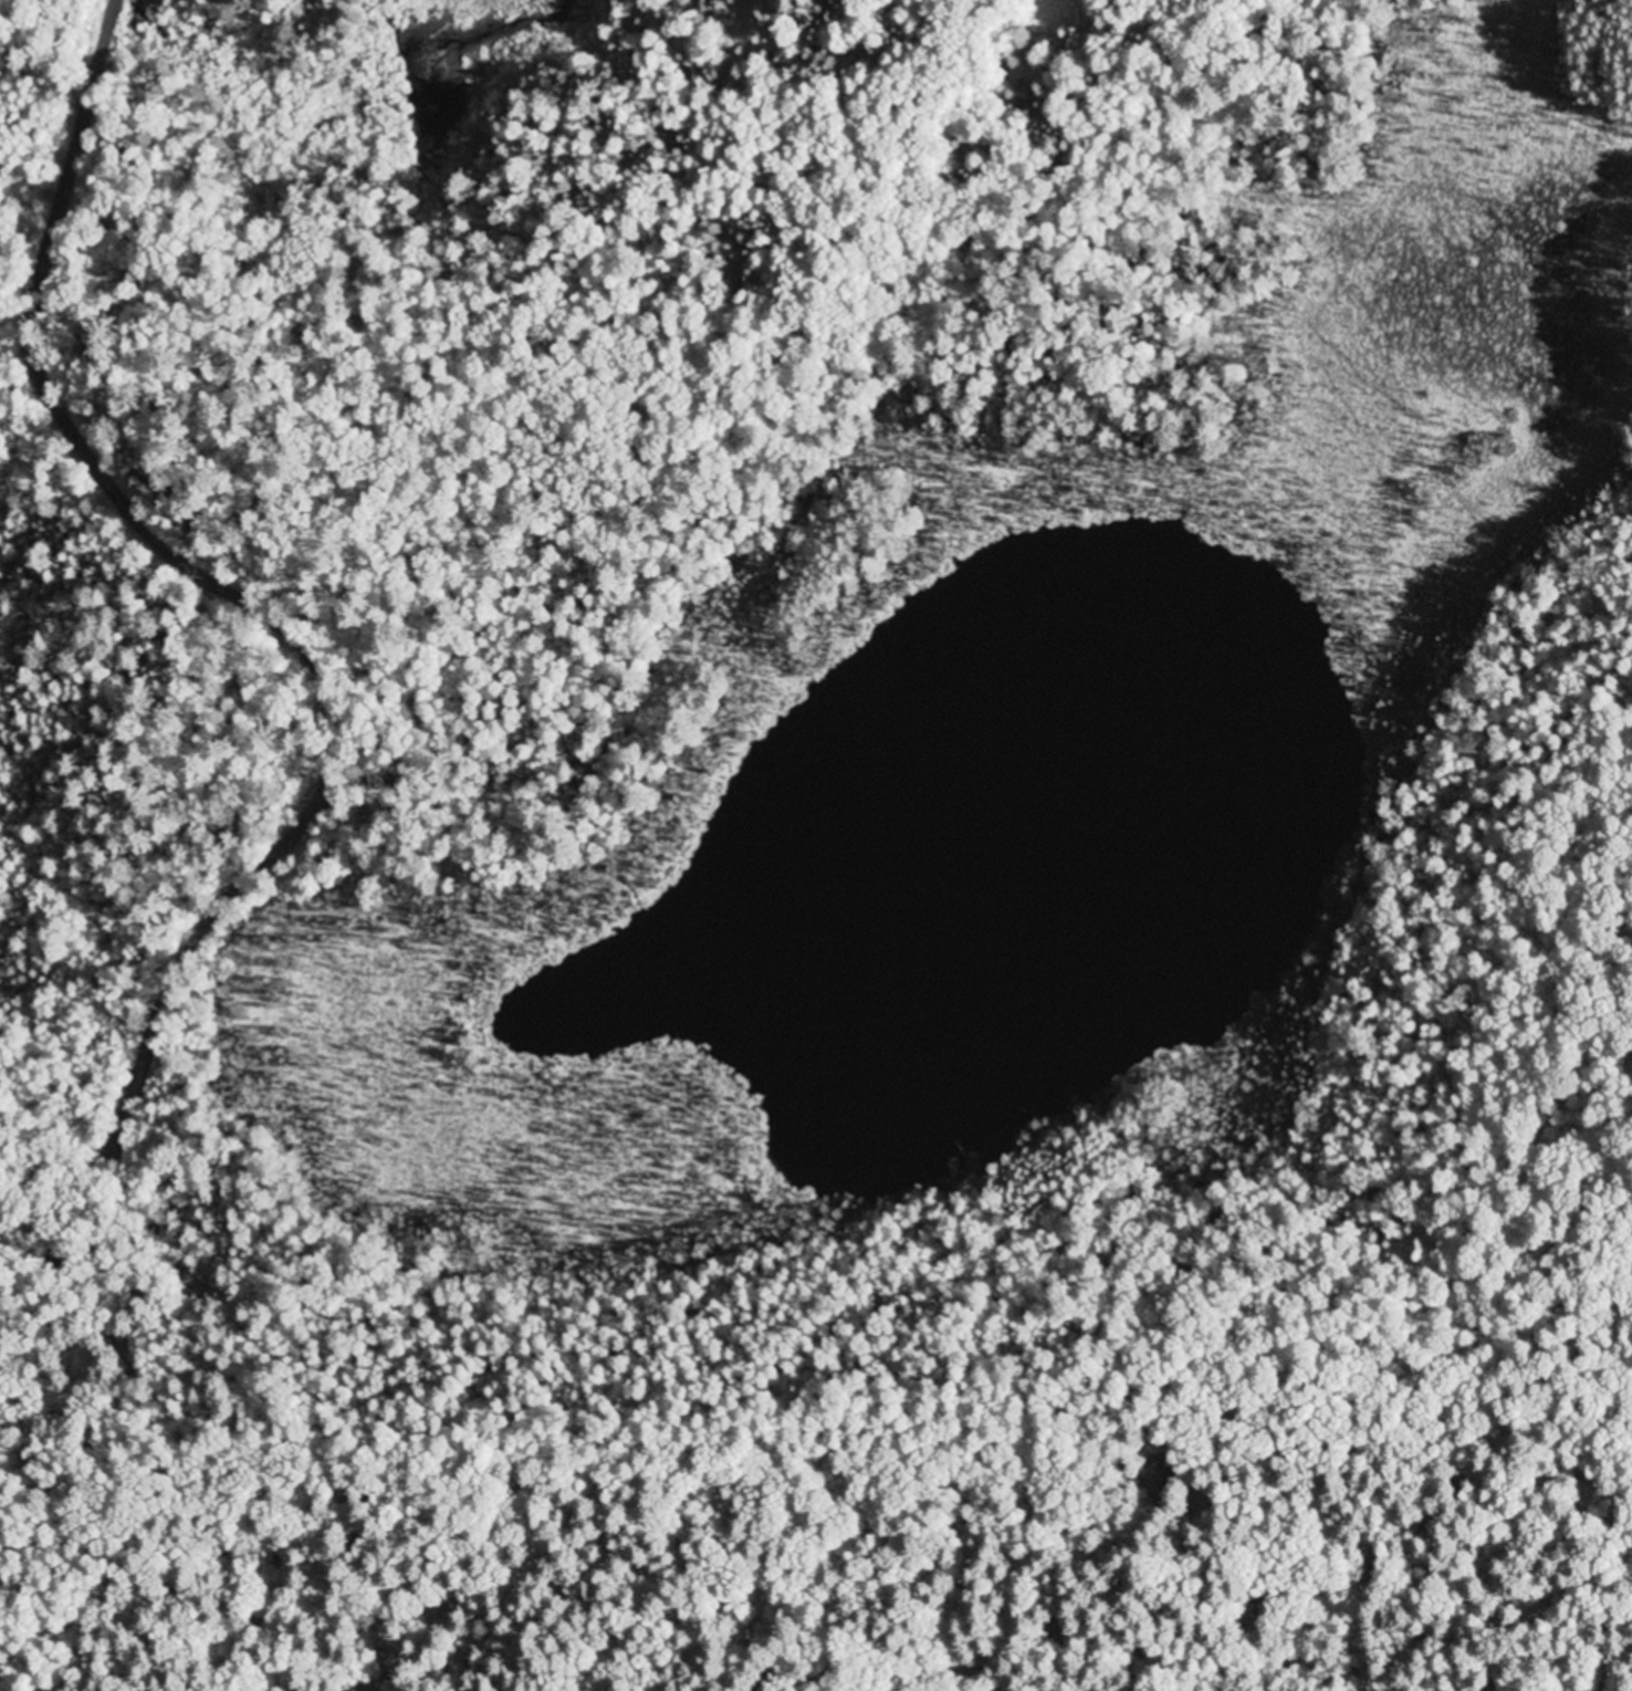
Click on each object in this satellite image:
road: (36, 186)
road: (321, 668)

